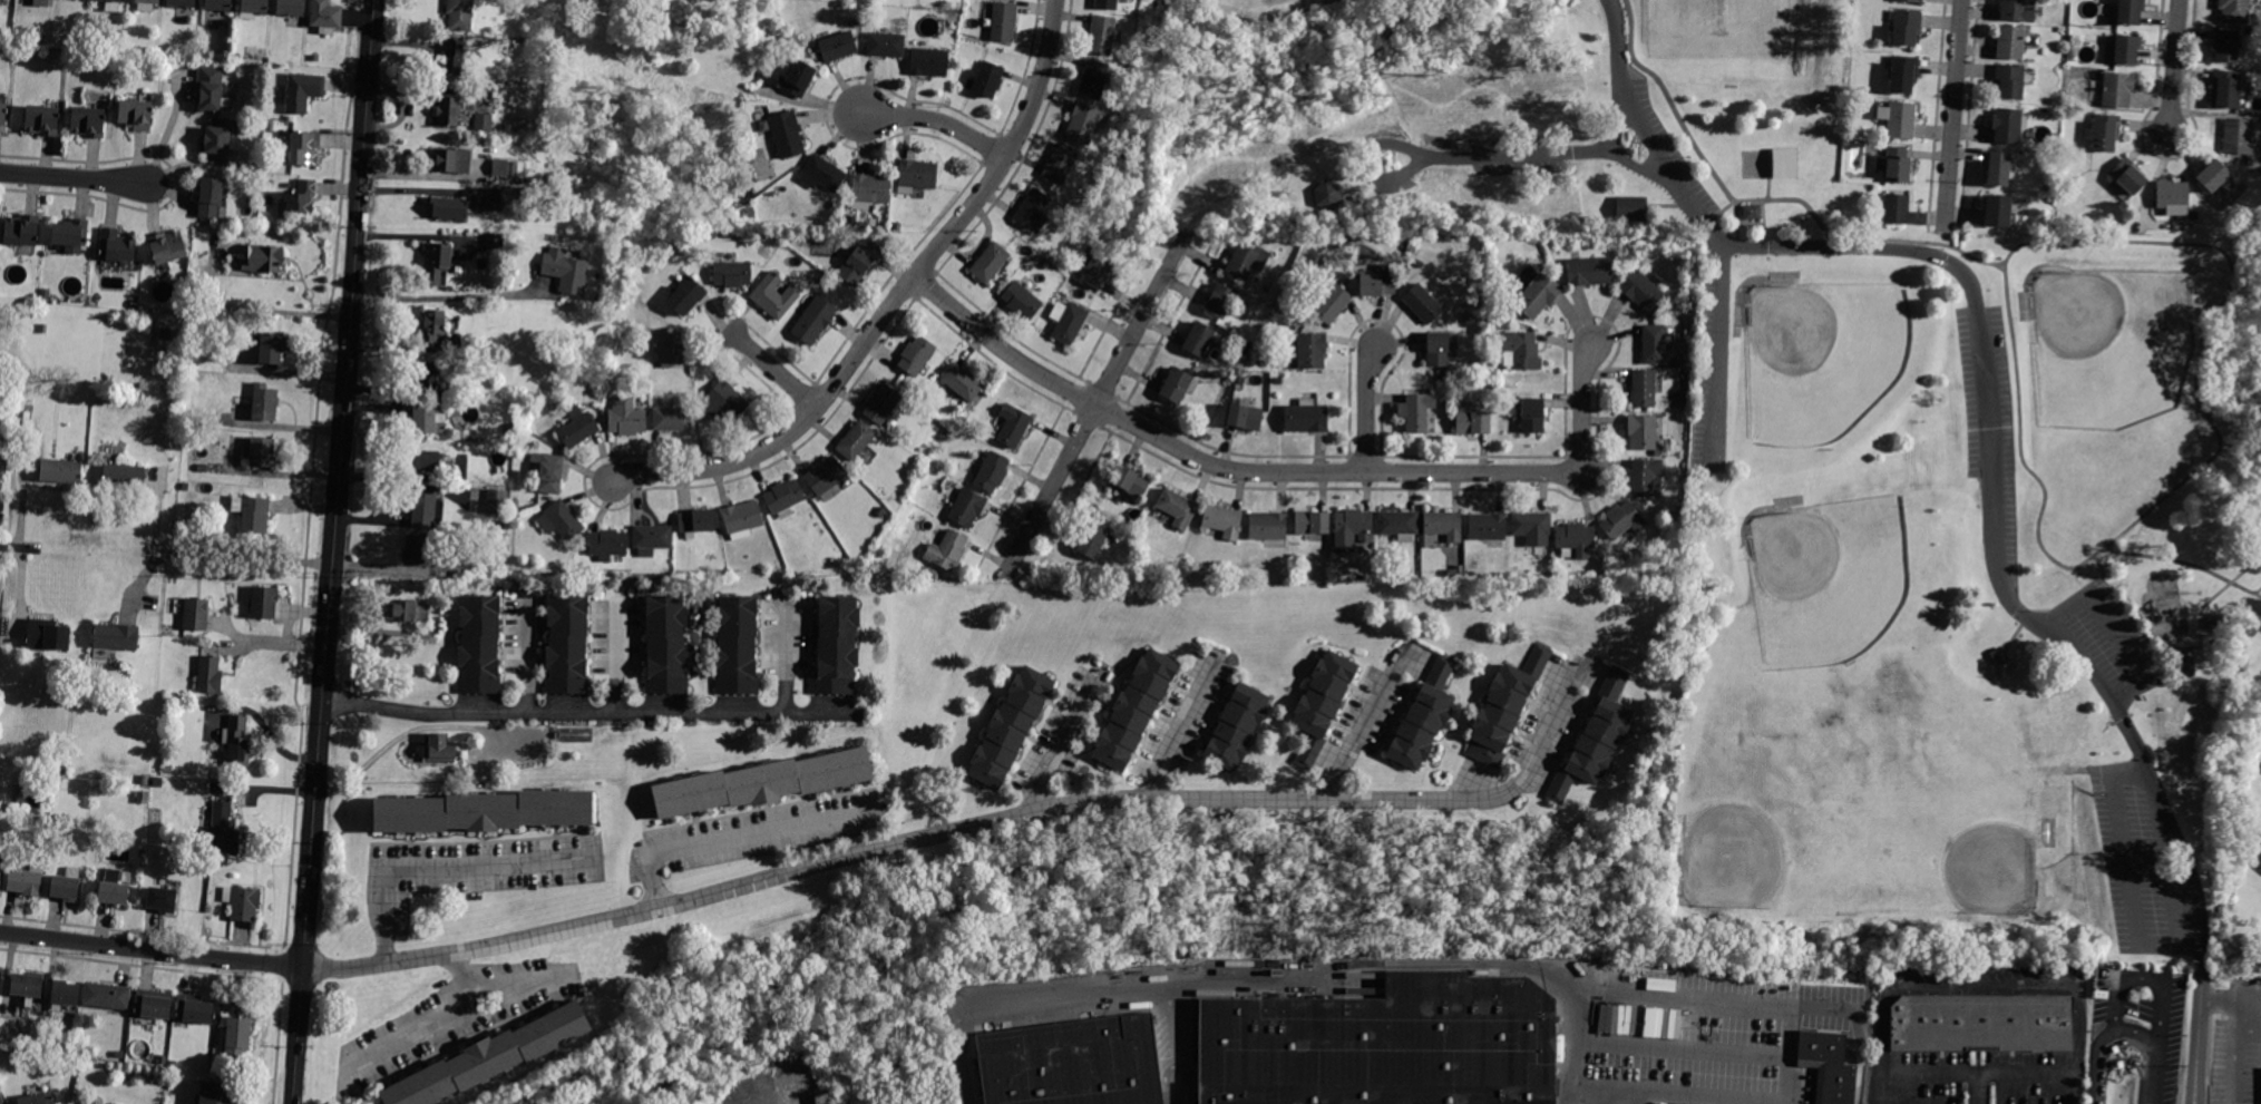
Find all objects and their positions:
building: (1910, 1)
building: (41, 3)
building: (182, 3)
building: (110, 4)
building: (1105, 4)
building: (146, 6)
building: (218, 6)
building: (292, 8)
building: (254, 9)
park: (1261, 9)
building: (2233, 10)
building: (2017, 11)
building: (2128, 11)
building: (459, 14)
building: (325, 17)
building: (1003, 22)
building: (1906, 27)
park: (1716, 30)
building: (2250, 30)
building: (1101, 36)
building: (792, 42)
building: (2009, 42)
building: (886, 45)
building: (838, 47)
building: (2225, 47)
building: (2122, 50)
building: (452, 58)
building: (927, 60)
road: (2174, 66)
building: (1903, 75)
building: (791, 79)
building: (985, 79)
building: (1093, 79)
building: (2009, 80)
building: (213, 89)
building: (2117, 89)
building: (2224, 89)
building: (304, 90)
road: (1670, 104)
building: (448, 111)
road: (1952, 114)
building: (135, 115)
building: (3, 116)
building: (43, 119)
road: (938, 120)
building: (1900, 120)
building: (87, 121)
building: (483, 121)
building: (1085, 124)
building: (2008, 125)
road: (169, 130)
road: (1647, 130)
building: (2104, 133)
building: (784, 134)
building: (2238, 136)
building: (217, 140)
building: (304, 148)
road: (1443, 156)
building: (451, 160)
road: (1624, 160)
building: (1892, 163)
building: (1784, 164)
building: (1061, 165)
building: (1999, 167)
building: (508, 168)
building: (822, 174)
building: (916, 176)
building: (2127, 176)
building: (2212, 176)
road: (75, 177)
building: (869, 190)
building: (1327, 193)
building: (510, 195)
building: (2171, 195)
building: (301, 196)
road: (1782, 197)
building: (211, 198)
building: (1630, 208)
building: (449, 209)
building: (1032, 209)
building: (1895, 209)
building: (751, 212)
building: (1752, 212)
building: (1997, 212)
building: (863, 225)
building: (22, 229)
building: (71, 236)
building: (494, 243)
building: (116, 246)
building: (167, 246)
road: (1952, 246)
building: (1411, 248)
building: (263, 260)
building: (859, 261)
building: (1246, 261)
building: (437, 262)
building: (990, 263)
building: (566, 271)
building: (1589, 271)
building: (731, 272)
building: (1097, 272)
building: (1377, 282)
building: (1643, 292)
building: (685, 294)
building: (1537, 295)
road: (442, 296)
building: (773, 296)
building: (602, 300)
building: (1021, 301)
building: (1221, 301)
building: (1331, 301)
building: (1422, 303)
road: (890, 304)
building: (1469, 319)
building: (813, 320)
building: (1068, 322)
building: (433, 325)
building: (35, 328)
building: (199, 330)
building: (166, 333)
building: (1200, 340)
building: (1654, 344)
park: (2108, 345)
building: (269, 348)
building: (671, 348)
building: (1245, 348)
building: (1440, 348)
building: (1312, 350)
building: (1523, 350)
building: (916, 355)
road: (1721, 356)
park: (1825, 358)
building: (1675, 363)
road: (774, 369)
building: (430, 381)
building: (962, 381)
building: (1241, 381)
building: (1178, 385)
building: (1644, 389)
building: (724, 402)
building: (264, 403)
building: (1492, 403)
building: (881, 404)
road: (1097, 404)
road: (1366, 409)
building: (1415, 411)
building: (625, 416)
building: (1532, 416)
building: (1305, 417)
building: (672, 418)
building: (1245, 418)
building: (427, 420)
building: (1472, 423)
building: (576, 426)
building: (1013, 426)
building: (1641, 432)
building: (856, 441)
building: (262, 452)
park: (1830, 452)
building: (426, 461)
building: (203, 468)
building: (60, 469)
building: (547, 470)
building: (992, 472)
road: (1284, 472)
building: (125, 475)
building: (825, 477)
building: (1644, 477)
building: (1131, 480)
road: (2173, 485)
building: (186, 487)
building: (783, 498)
building: (496, 501)
building: (515, 505)
building: (423, 508)
building: (966, 508)
building: (1178, 508)
building: (880, 512)
building: (252, 514)
building: (514, 517)
building: (561, 519)
building: (741, 519)
building: (1622, 520)
building: (696, 521)
building: (1222, 521)
building: (1312, 522)
building: (1400, 524)
road: (1992, 525)
building: (1268, 526)
building: (1443, 526)
building: (1487, 526)
building: (1531, 528)
building: (1352, 529)
building: (651, 538)
building: (1092, 540)
building: (1576, 541)
building: (607, 543)
road: (20, 548)
building: (419, 550)
building: (947, 550)
road: (334, 551)
road: (215, 556)
building: (466, 558)
road: (2180, 561)
building: (666, 571)
road: (2104, 571)
building: (930, 574)
park: (1830, 577)
road: (140, 579)
road: (2260, 594)
road: (2260, 595)
building: (264, 600)
road: (294, 610)
building: (407, 610)
building: (196, 613)
road: (2200, 622)
road: (2118, 629)
building: (48, 635)
building: (117, 637)
road: (277, 643)
building: (571, 644)
building: (481, 645)
building: (665, 645)
building: (737, 645)
building: (835, 645)
building: (1999, 656)
road: (788, 660)
road: (528, 663)
road: (617, 663)
building: (2189, 663)
building: (209, 670)
building: (1323, 706)
building: (1137, 710)
building: (1507, 710)
building: (1425, 715)
road: (586, 716)
building: (1240, 726)
building: (1014, 727)
road: (410, 731)
road: (1177, 732)
road: (1355, 732)
building: (575, 733)
park: (1849, 737)
building: (1598, 739)
building: (238, 742)
road: (1056, 743)
building: (438, 746)
road: (1542, 749)
building: (167, 770)
building: (62, 771)
building: (144, 780)
building: (156, 781)
building: (764, 782)
building: (143, 797)
building: (487, 811)
park: (1774, 824)
building: (221, 830)
road: (734, 838)
park: (1968, 840)
road: (891, 846)
park: (1862, 862)
building: (2259, 863)
road: (445, 866)
road: (2124, 866)
building: (0, 869)
building: (26, 881)
building: (67, 885)
building: (113, 887)
building: (162, 899)
building: (242, 902)
road: (150, 952)
road: (1357, 963)
road: (462, 976)
road: (2143, 978)
road: (1353, 981)
road: (1982, 984)
building: (27, 985)
building: (66, 994)
building: (107, 996)
road: (2231, 998)
building: (153, 1004)
building: (193, 1010)
road: (456, 1012)
building: (1982, 1024)
building: (236, 1028)
road: (2197, 1032)
road: (1572, 1035)
road: (2097, 1039)
parking lot: (2239, 1039)
road: (2123, 1043)
building: (1381, 1044)
road: (1167, 1045)
road: (1679, 1047)
road: (2233, 1051)
road: (1786, 1055)
building: (491, 1058)
road: (2121, 1059)
building: (1071, 1063)
building: (1829, 1065)
road: (1975, 1071)
road: (2154, 1073)
road: (1189, 1077)
road: (1872, 1087)
road: (1973, 1087)
road: (2075, 1087)
building: (217, 1093)
road: (1562, 1094)
road: (1672, 1094)
road: (1601, 1096)
road: (1628, 1097)
building: (37, 1100)
building: (0, 1101)
building: (86, 1102)

